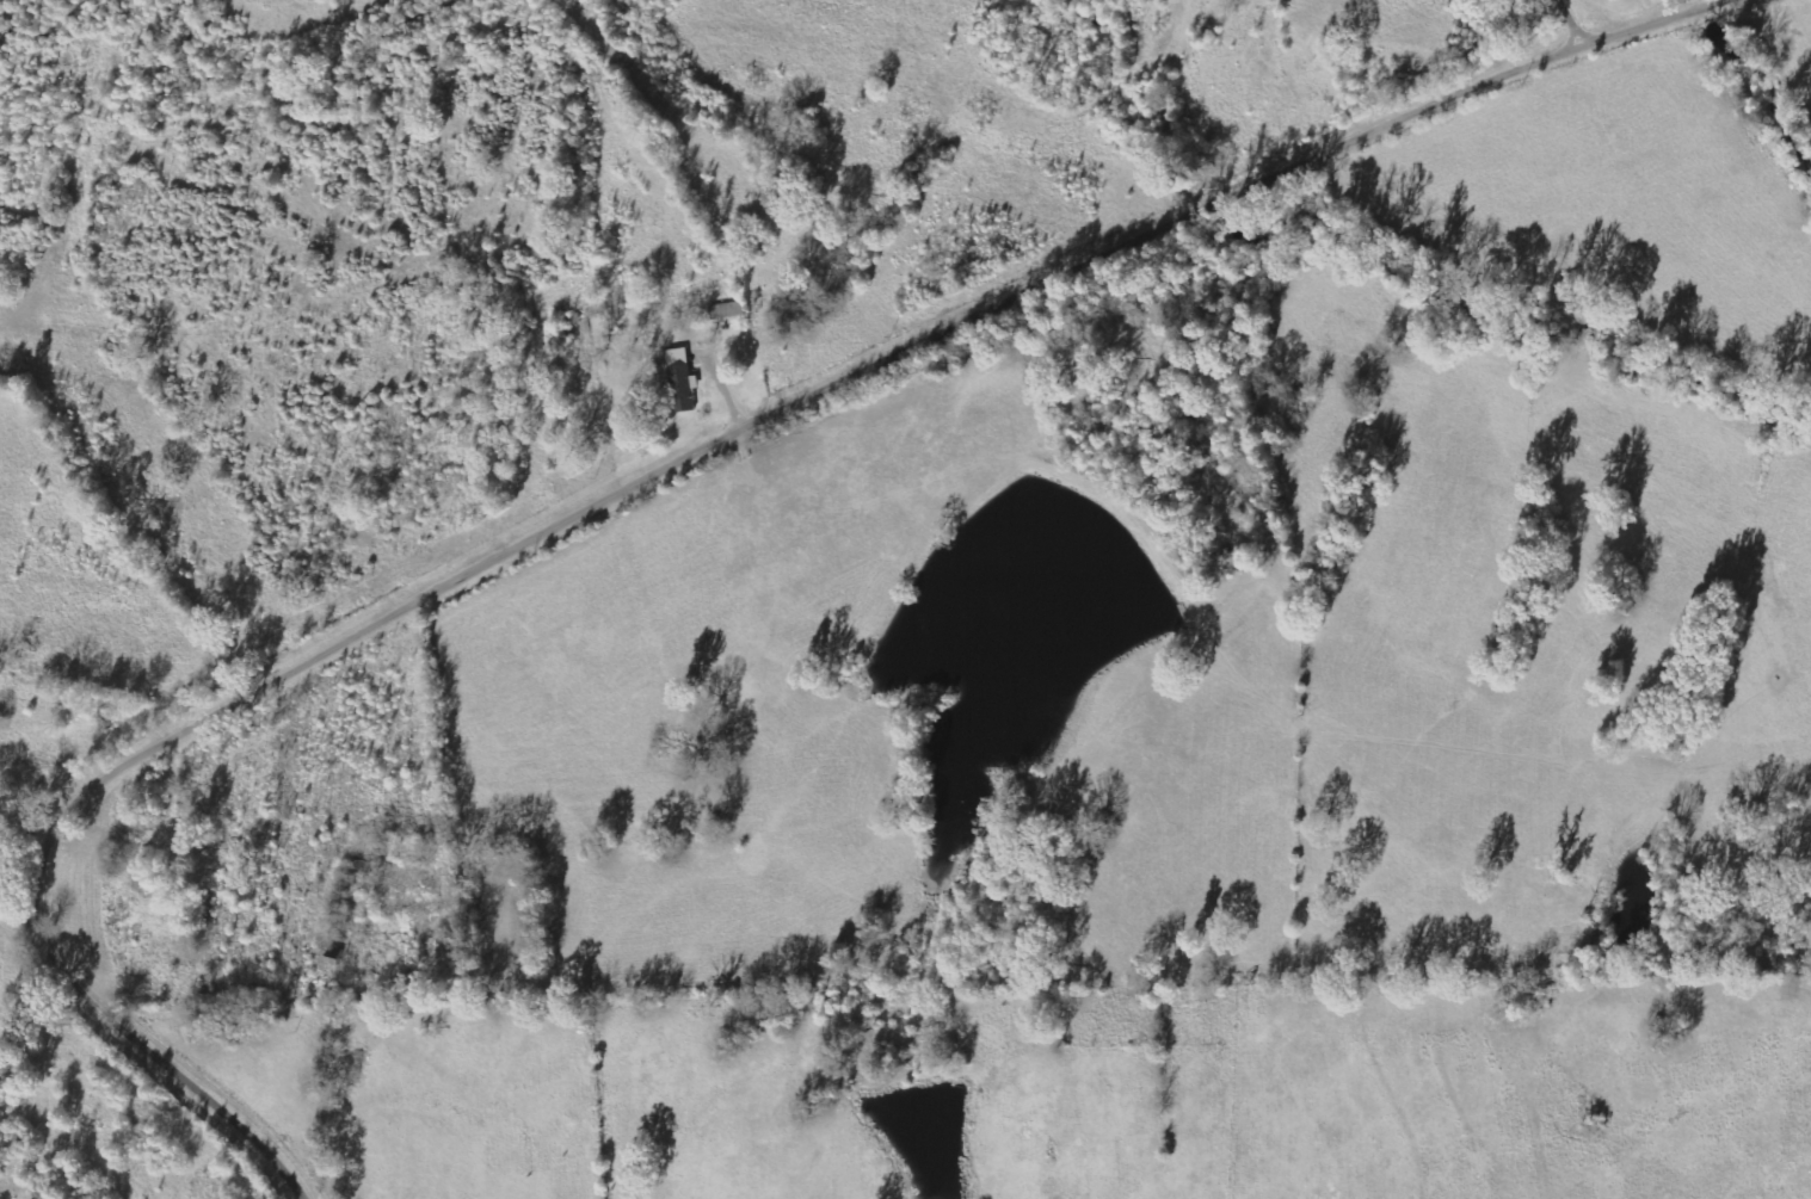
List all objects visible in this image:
road: (1582, 21)
park: (1060, 351)
building: (680, 381)
road: (654, 475)

